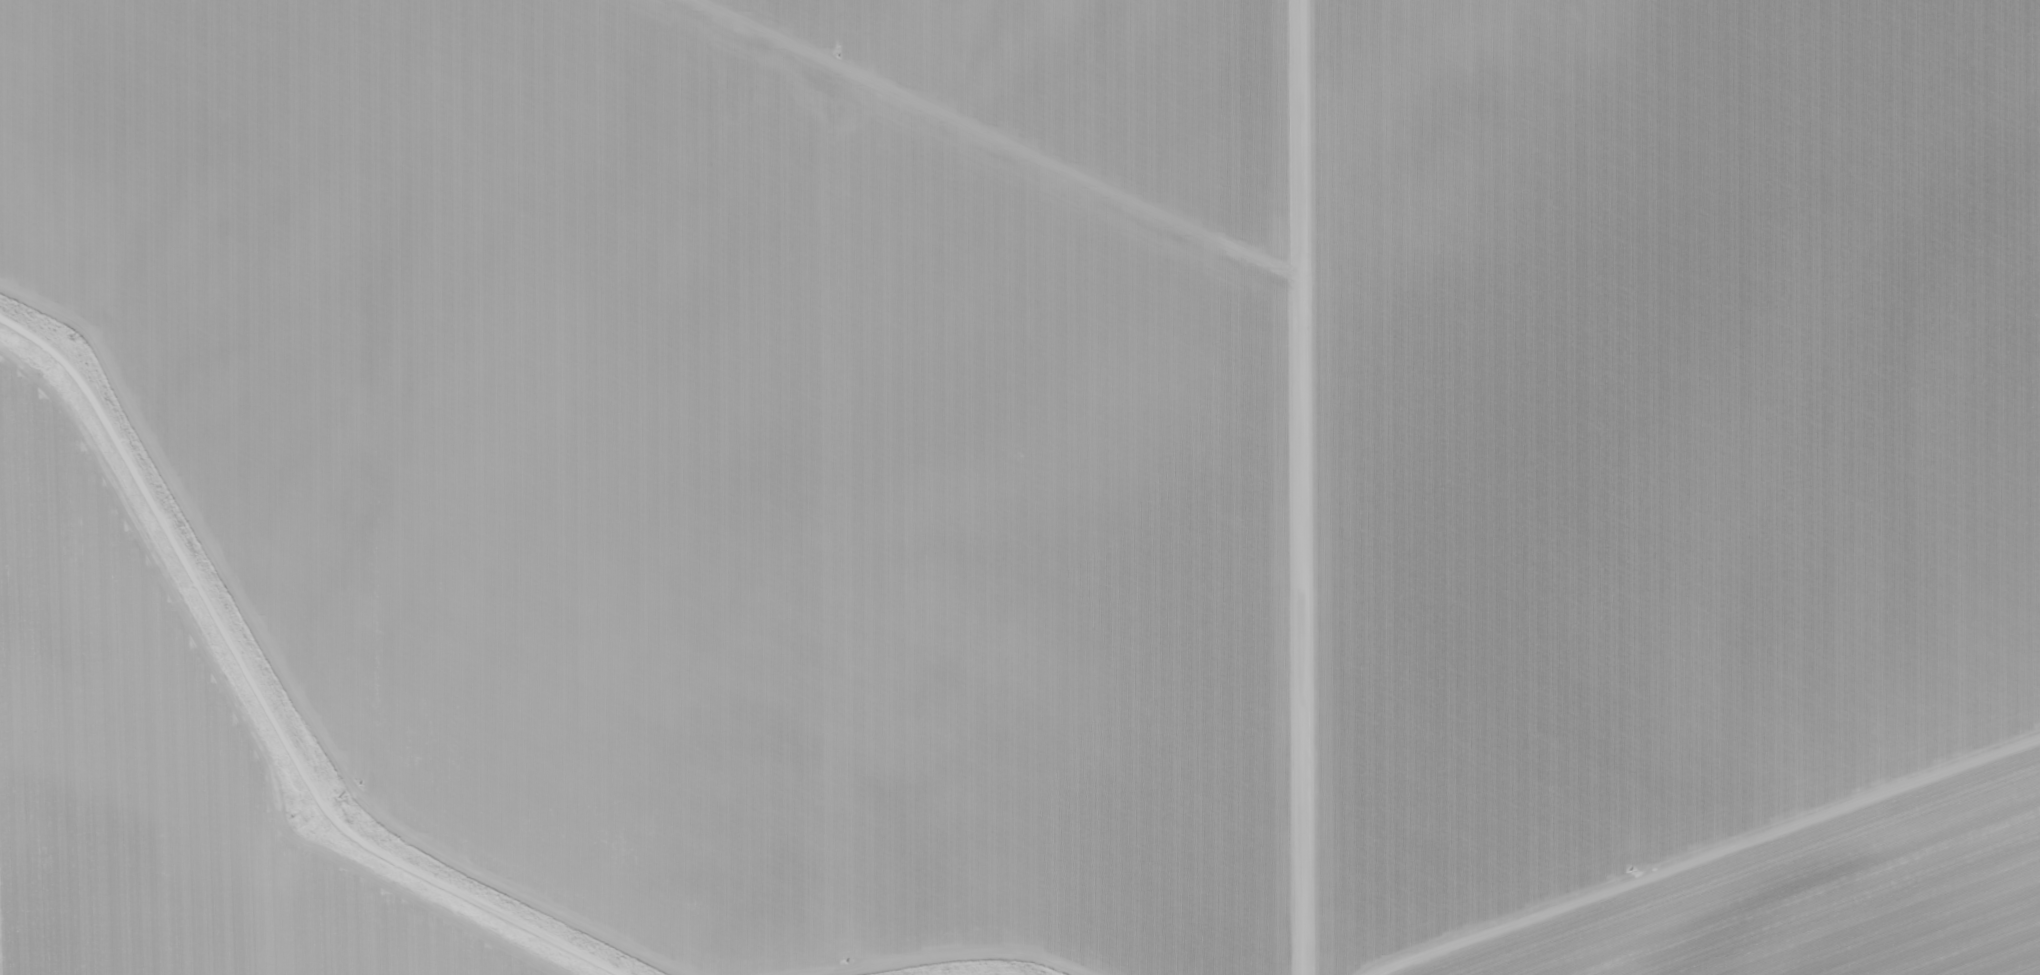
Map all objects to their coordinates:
road: (1299, 487)
road: (256, 703)
road: (1711, 856)

